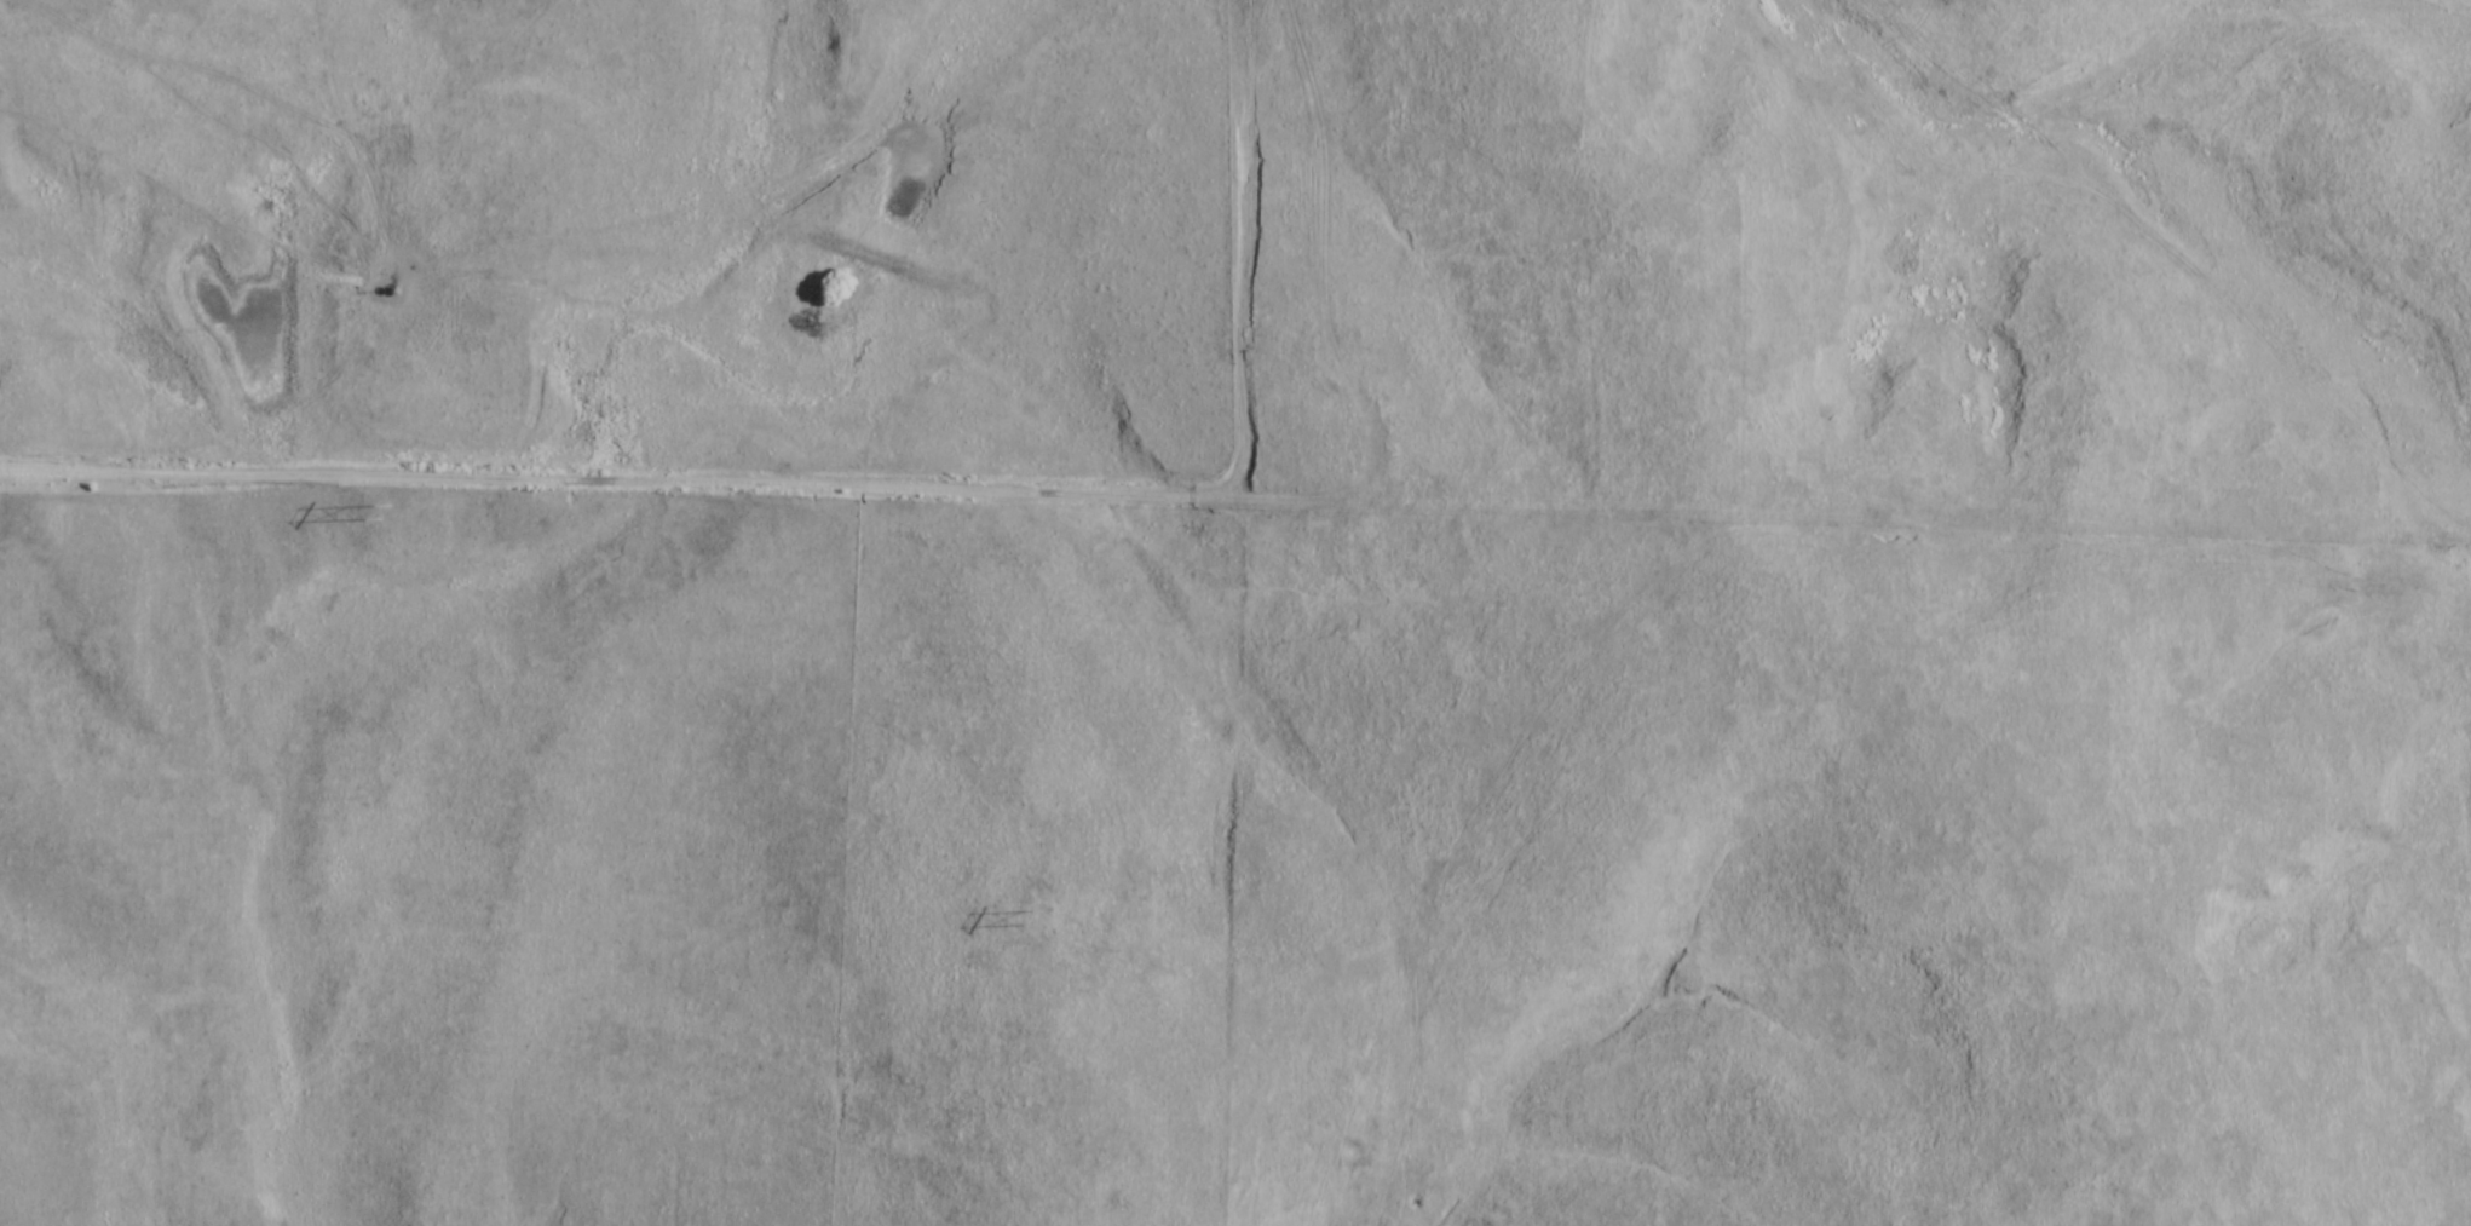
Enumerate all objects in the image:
road: (1244, 263)
road: (599, 479)
power tower: (384, 512)
power tower: (1035, 916)

